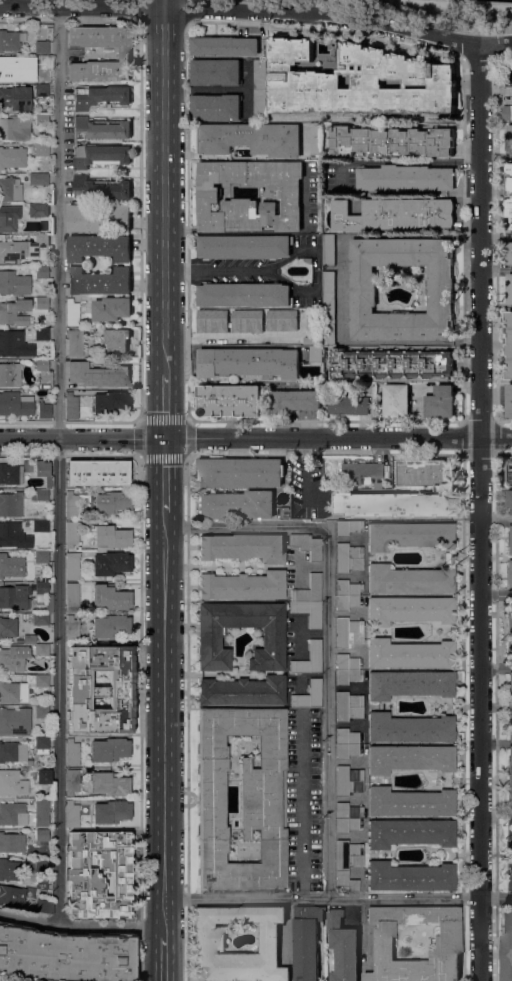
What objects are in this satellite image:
road: (164, 3)
road: (218, 4)
road: (433, 4)
road: (140, 10)
road: (257, 10)
road: (186, 12)
road: (69, 20)
building: (49, 29)
road: (164, 38)
building: (11, 39)
building: (41, 46)
building: (224, 46)
building: (124, 53)
building: (41, 59)
building: (6, 68)
building: (216, 72)
building: (511, 73)
building: (357, 81)
building: (260, 88)
building: (42, 89)
building: (101, 96)
building: (16, 97)
building: (216, 107)
building: (507, 113)
building: (42, 119)
building: (15, 127)
building: (100, 129)
building: (251, 139)
building: (316, 139)
building: (509, 139)
building: (391, 141)
building: (42, 149)
building: (101, 155)
building: (13, 156)
road: (411, 163)
building: (39, 178)
building: (405, 178)
building: (10, 189)
building: (101, 189)
building: (509, 193)
building: (209, 197)
building: (38, 209)
building: (394, 214)
building: (9, 217)
building: (99, 219)
road: (140, 219)
road: (186, 222)
road: (164, 223)
building: (511, 229)
road: (495, 237)
building: (100, 247)
building: (244, 247)
building: (22, 248)
building: (329, 250)
building: (509, 253)
building: (308, 260)
road: (216, 270)
building: (42, 271)
road: (496, 271)
building: (14, 282)
building: (100, 282)
road: (343, 287)
building: (440, 287)
building: (510, 289)
building: (244, 295)
building: (42, 302)
building: (328, 308)
building: (112, 309)
building: (14, 312)
building: (71, 312)
building: (282, 320)
building: (213, 321)
building: (248, 321)
building: (312, 327)
building: (41, 333)
road: (231, 338)
building: (116, 341)
building: (74, 342)
building: (509, 344)
building: (14, 345)
building: (315, 354)
building: (249, 362)
building: (391, 363)
building: (41, 364)
building: (10, 374)
building: (96, 375)
building: (509, 400)
building: (231, 401)
building: (295, 401)
building: (396, 401)
building: (349, 402)
building: (441, 402)
building: (16, 403)
building: (111, 403)
building: (74, 404)
road: (165, 408)
building: (44, 410)
road: (184, 419)
road: (70, 421)
traffic signals: (165, 438)
road: (256, 438)
road: (71, 450)
road: (59, 466)
building: (41, 468)
road: (304, 470)
building: (365, 471)
building: (72, 472)
building: (240, 472)
building: (510, 472)
building: (11, 473)
building: (110, 473)
road: (165, 474)
building: (49, 481)
building: (445, 489)
building: (38, 494)
building: (112, 501)
building: (509, 502)
building: (11, 504)
building: (72, 504)
building: (237, 505)
road: (480, 512)
building: (286, 513)
road: (496, 521)
building: (41, 525)
building: (348, 525)
building: (72, 533)
building: (13, 534)
building: (408, 535)
building: (112, 536)
building: (509, 540)
building: (307, 545)
building: (243, 547)
building: (42, 556)
building: (349, 557)
building: (111, 564)
building: (11, 565)
building: (73, 565)
building: (509, 574)
building: (45, 579)
building: (409, 579)
building: (243, 585)
building: (42, 587)
building: (309, 589)
building: (346, 594)
road: (496, 595)
building: (15, 596)
building: (72, 596)
building: (111, 597)
building: (49, 602)
building: (409, 609)
building: (309, 611)
building: (40, 618)
building: (8, 626)
building: (111, 626)
building: (72, 628)
road: (327, 631)
building: (349, 631)
building: (509, 631)
building: (28, 638)
building: (209, 642)
building: (42, 648)
building: (316, 649)
building: (410, 653)
building: (14, 657)
building: (348, 669)
building: (40, 679)
building: (409, 683)
building: (100, 689)
building: (243, 690)
building: (14, 691)
building: (309, 695)
building: (348, 705)
building: (510, 706)
building: (42, 711)
road: (187, 718)
building: (15, 719)
road: (139, 719)
road: (164, 722)
building: (409, 728)
building: (347, 743)
road: (496, 743)
building: (42, 744)
building: (109, 749)
building: (14, 752)
building: (73, 752)
building: (409, 758)
building: (42, 772)
building: (348, 780)
building: (510, 780)
building: (72, 781)
building: (12, 783)
building: (109, 783)
building: (242, 798)
building: (410, 802)
road: (302, 804)
building: (42, 811)
building: (111, 811)
building: (11, 812)
building: (72, 814)
building: (347, 817)
building: (409, 832)
building: (41, 835)
building: (509, 835)
building: (12, 842)
building: (348, 862)
building: (43, 866)
building: (9, 869)
building: (509, 872)
building: (409, 876)
building: (84, 877)
building: (12, 895)
road: (338, 898)
building: (43, 905)
road: (81, 926)
building: (209, 937)
building: (307, 941)
building: (445, 942)
building: (507, 943)
building: (343, 948)
building: (65, 956)
road: (164, 958)

